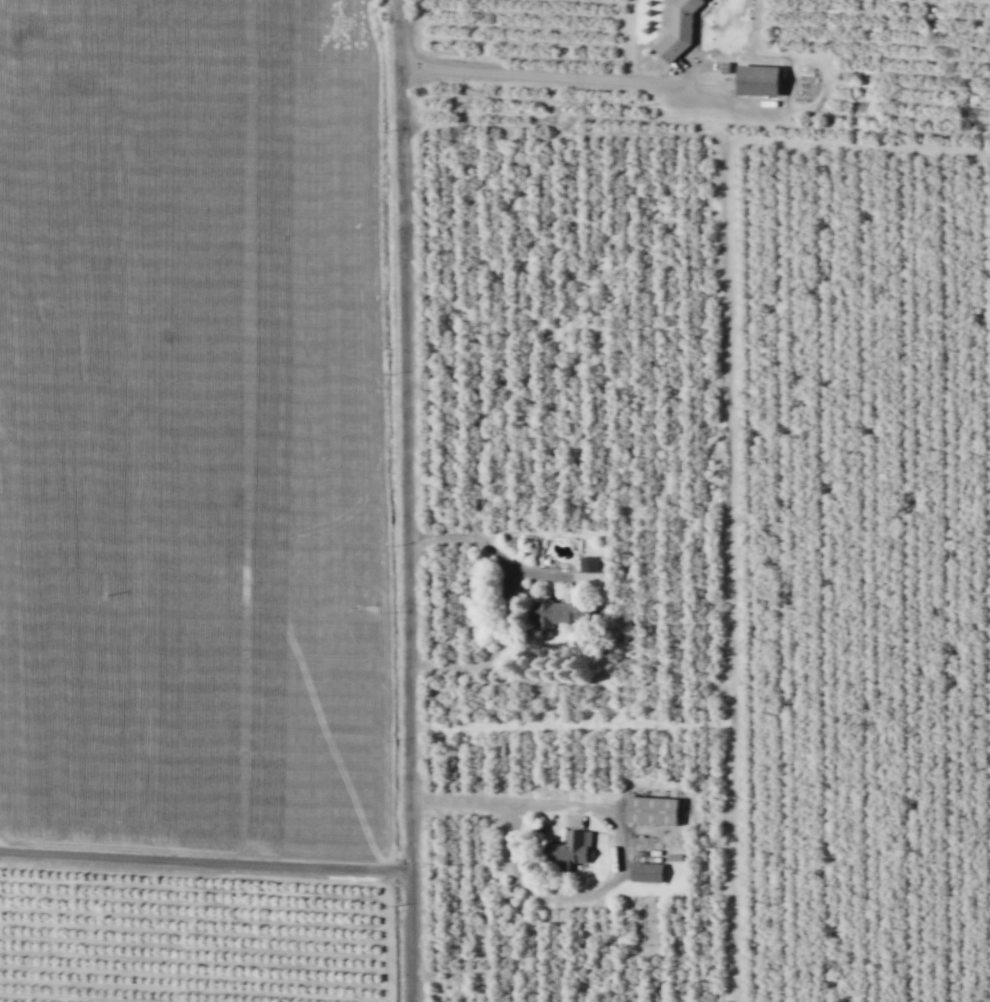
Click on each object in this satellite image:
building: (678, 28)
road: (537, 74)
building: (757, 79)
road: (405, 500)
building: (588, 564)
road: (508, 600)
building: (558, 613)
building: (651, 811)
road: (622, 840)
building: (569, 852)
road: (204, 860)
building: (646, 872)

